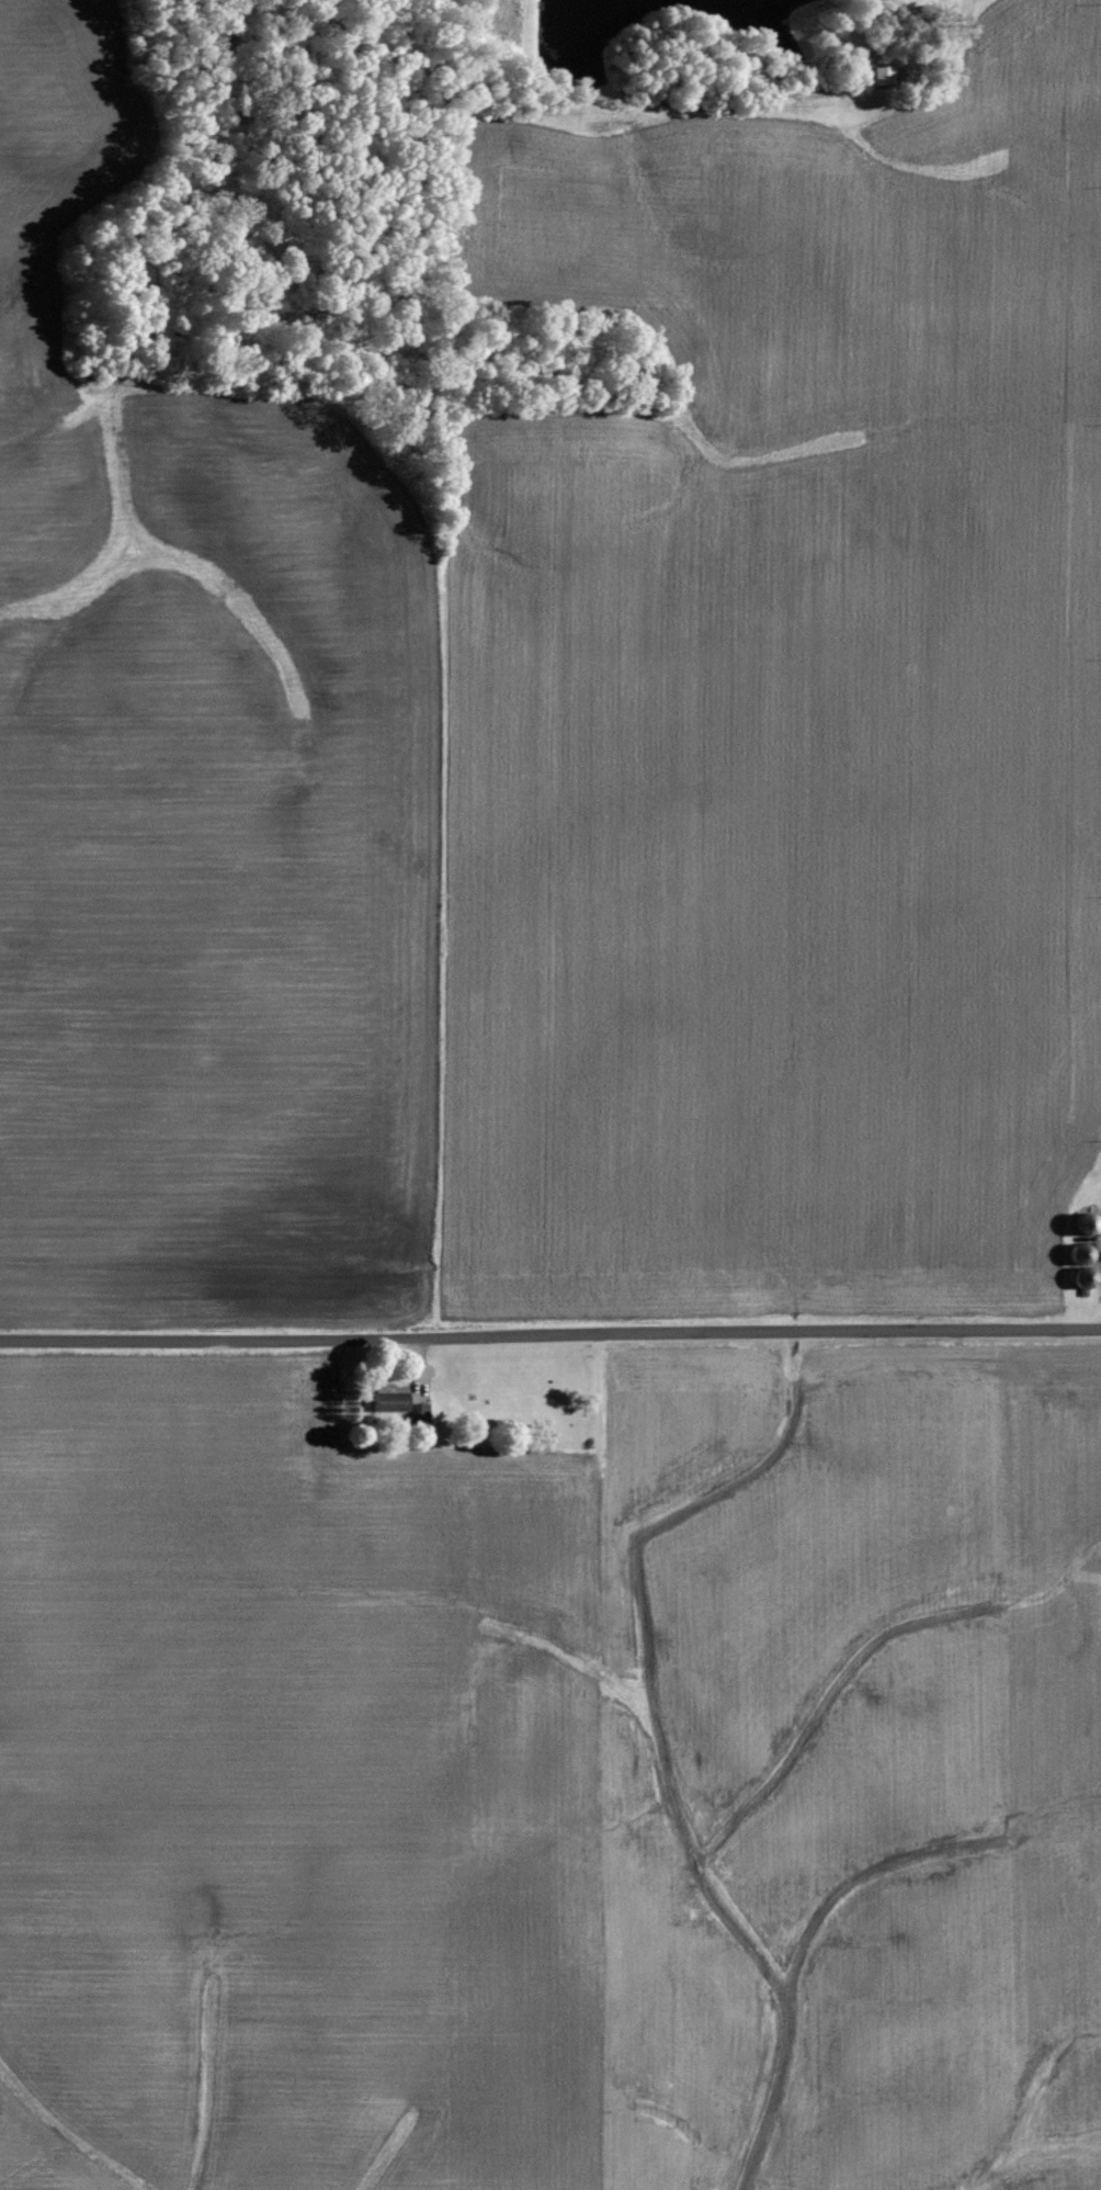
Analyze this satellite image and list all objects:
road: (550, 1337)
building: (387, 1403)
building: (420, 1411)

